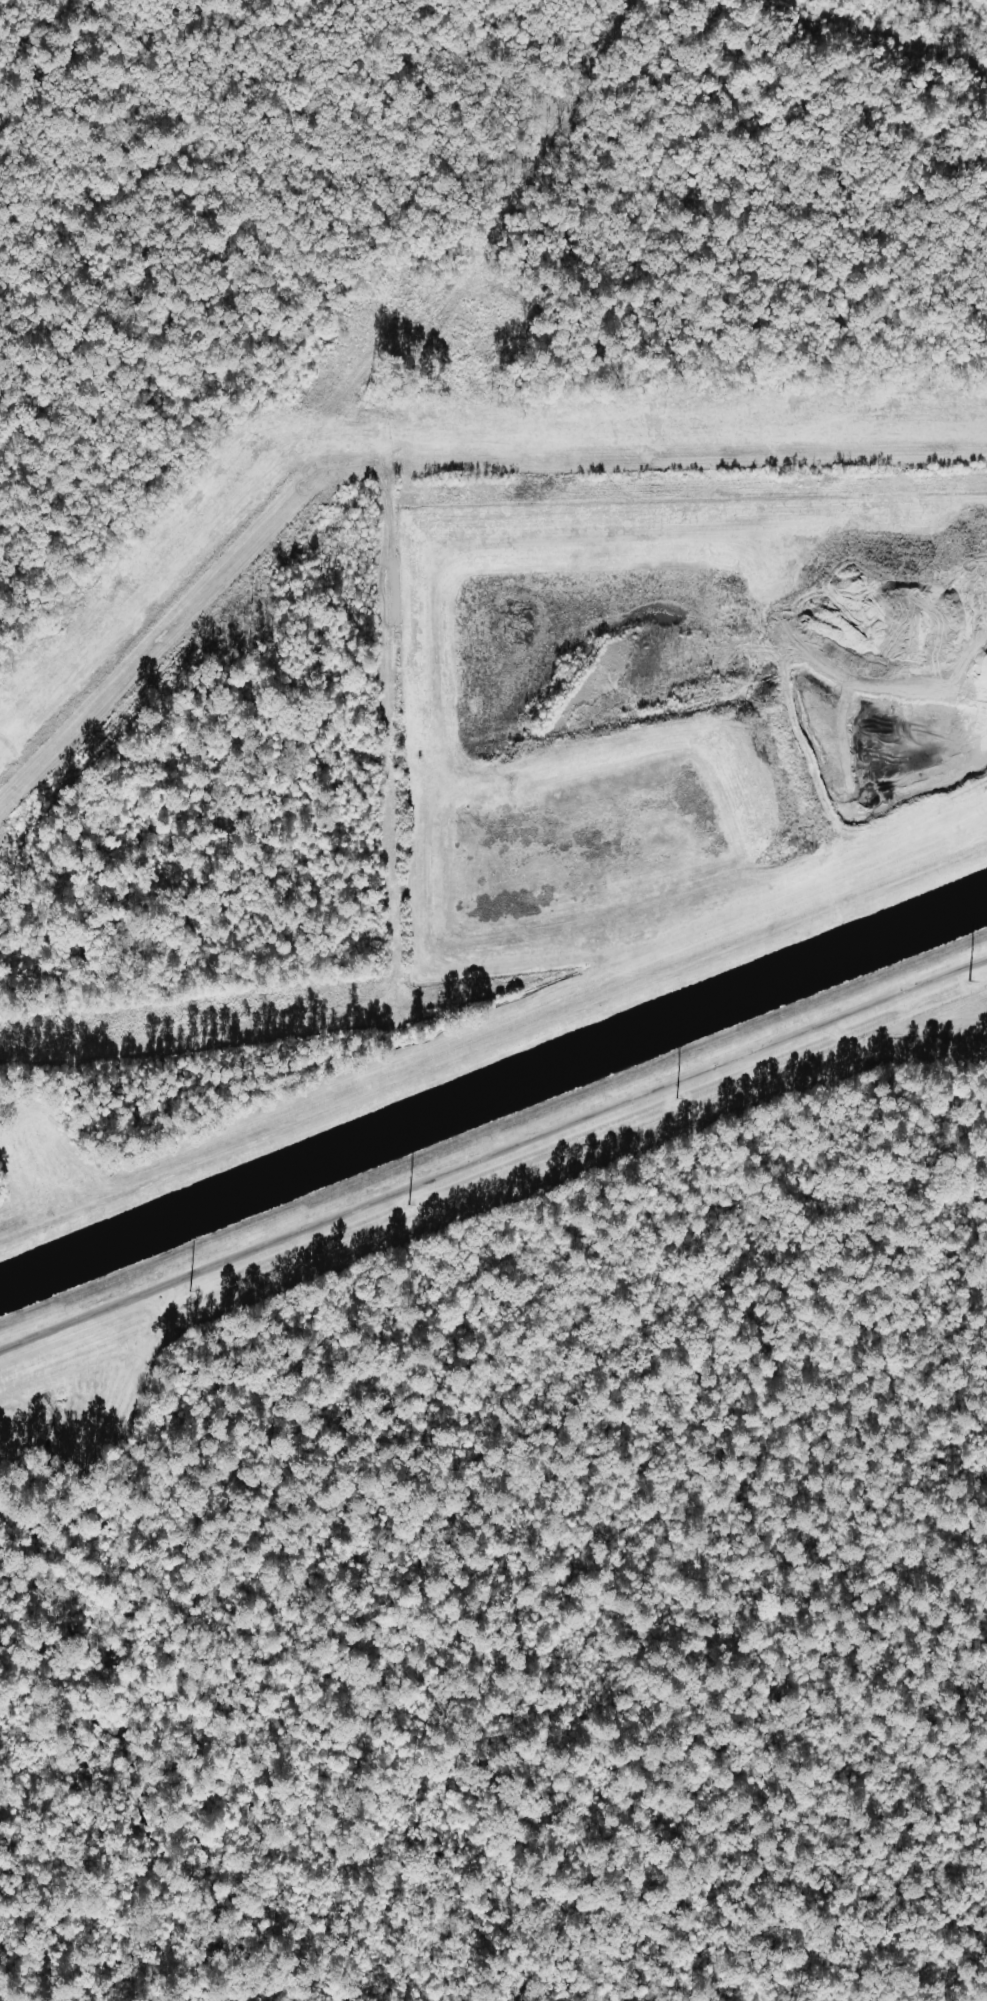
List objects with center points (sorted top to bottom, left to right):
road: (492, 1152)

